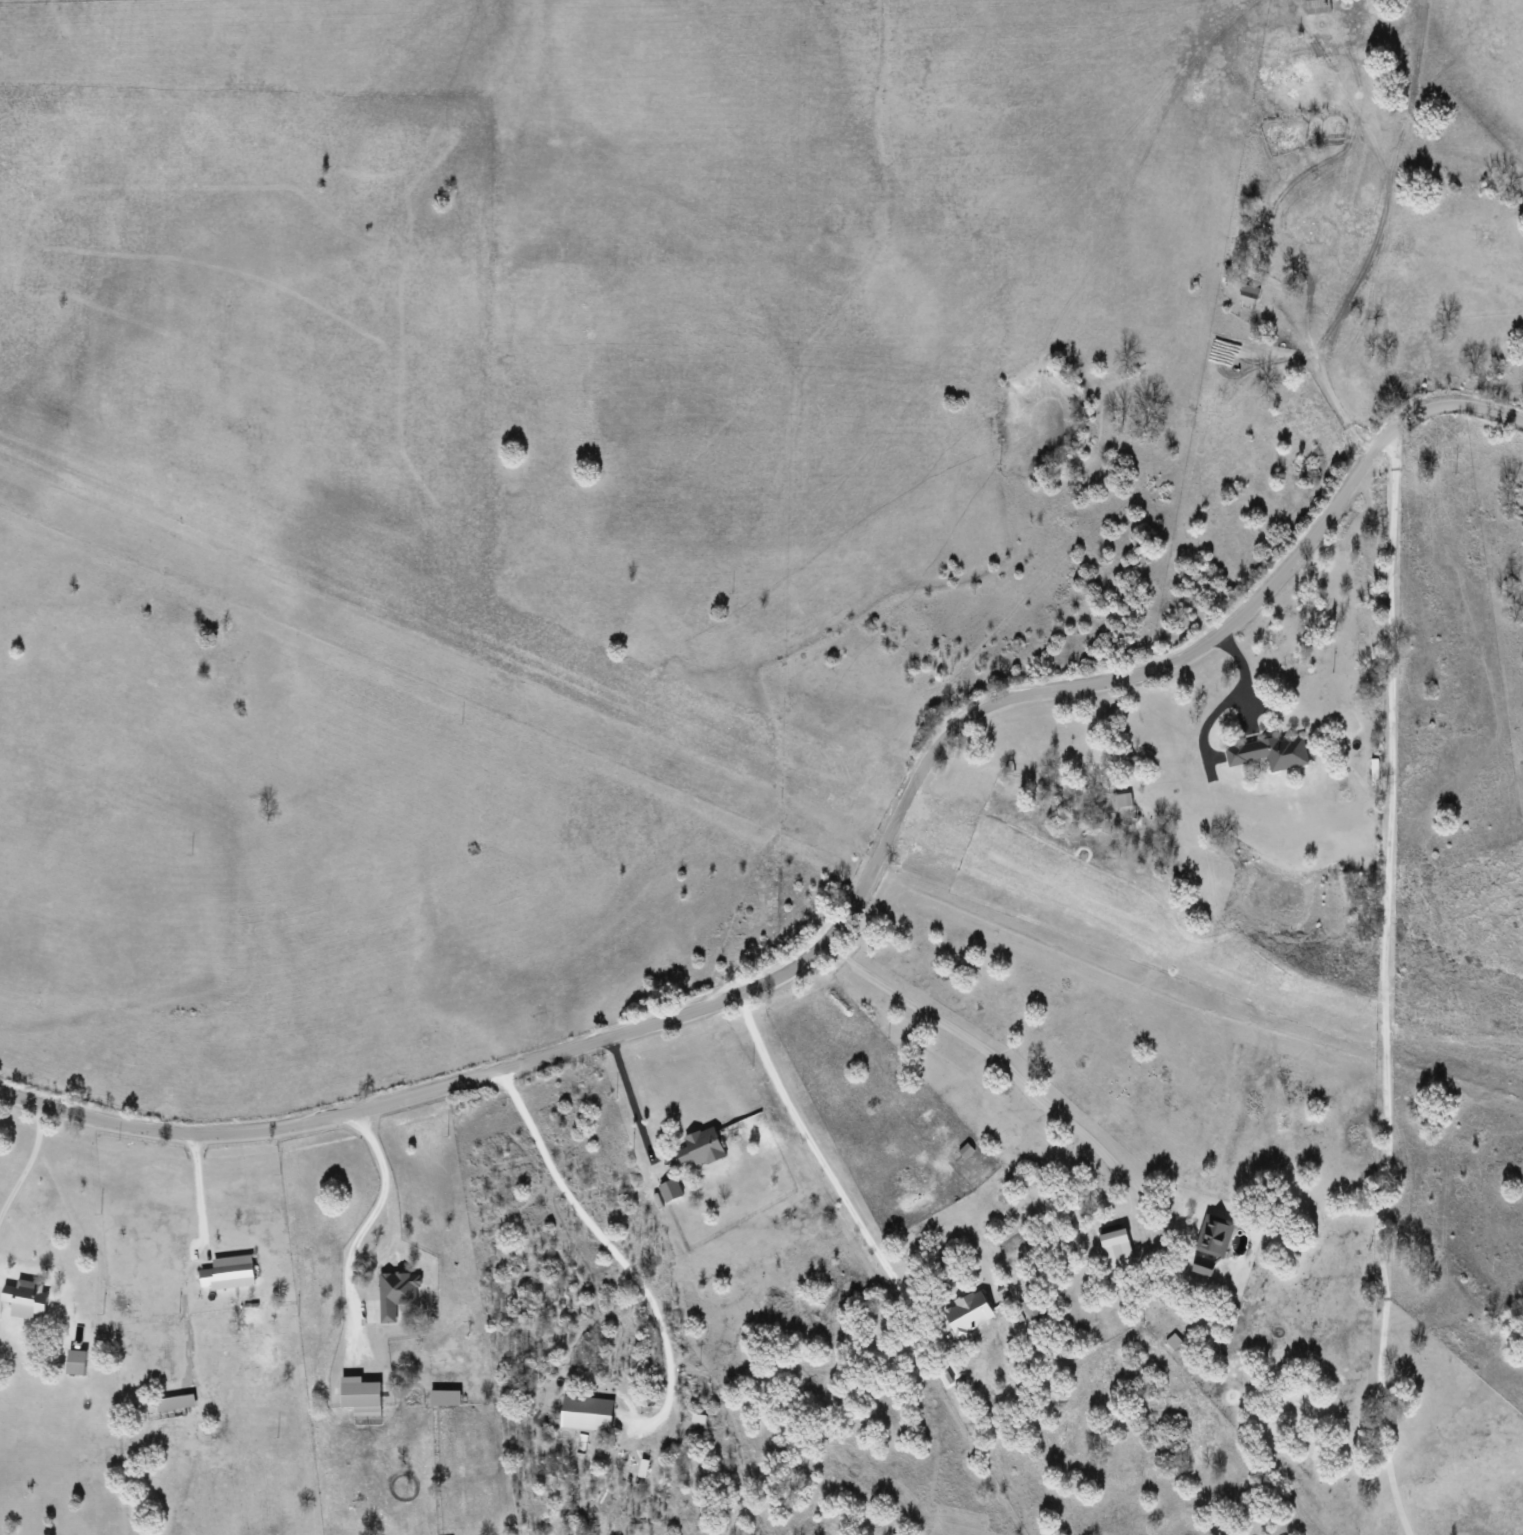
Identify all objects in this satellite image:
building: (1318, 6)
building: (1249, 296)
building: (1271, 752)
road: (847, 908)
road: (1382, 986)
road: (1011, 1076)
building: (701, 1147)
building: (967, 1150)
road: (823, 1172)
building: (671, 1189)
road: (198, 1192)
building: (1214, 1235)
building: (1203, 1266)
building: (229, 1272)
building: (397, 1294)
building: (27, 1298)
building: (1030, 1308)
building: (969, 1313)
building: (76, 1362)
building: (361, 1396)
building: (176, 1402)
building: (588, 1413)

